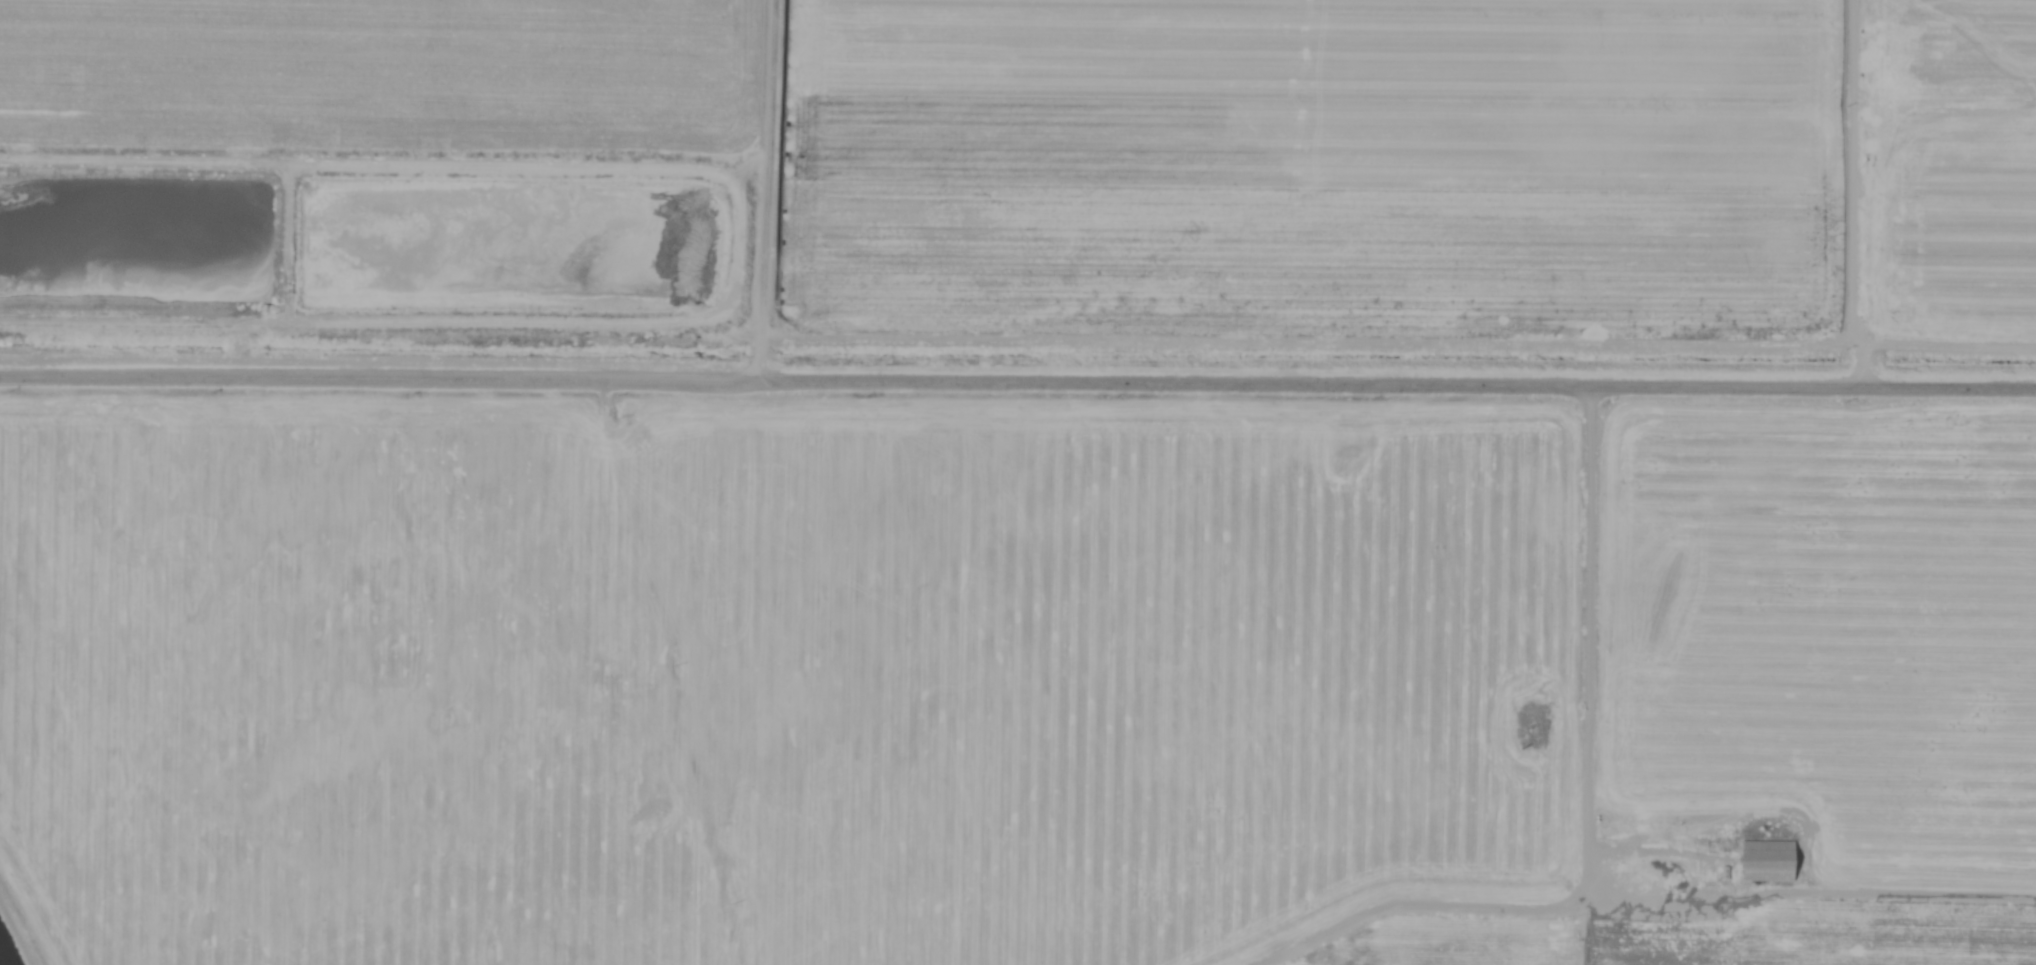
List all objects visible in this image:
crop: (1346, 250)
road: (1017, 381)
road: (673, 671)
road: (1592, 673)
building: (1769, 862)
crop: (1431, 877)
road: (18, 929)
crop: (6, 952)

